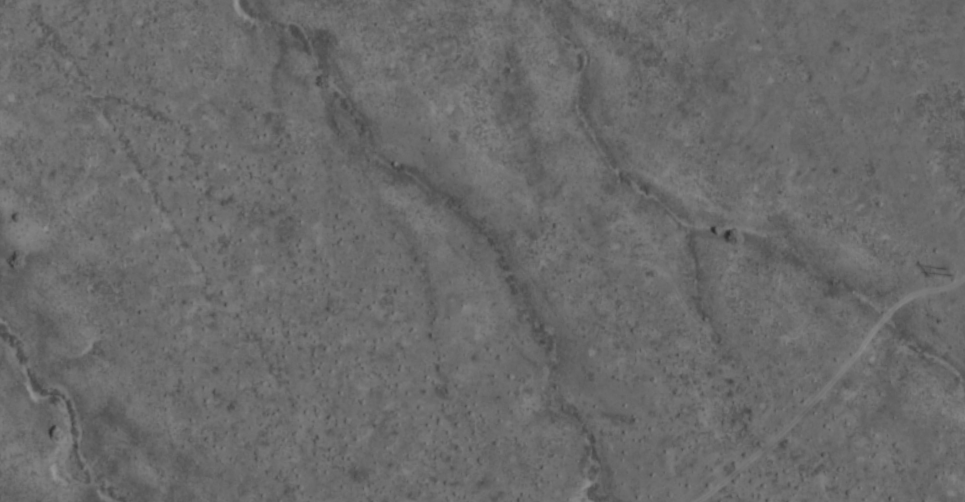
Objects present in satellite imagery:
power tower: (955, 275)

